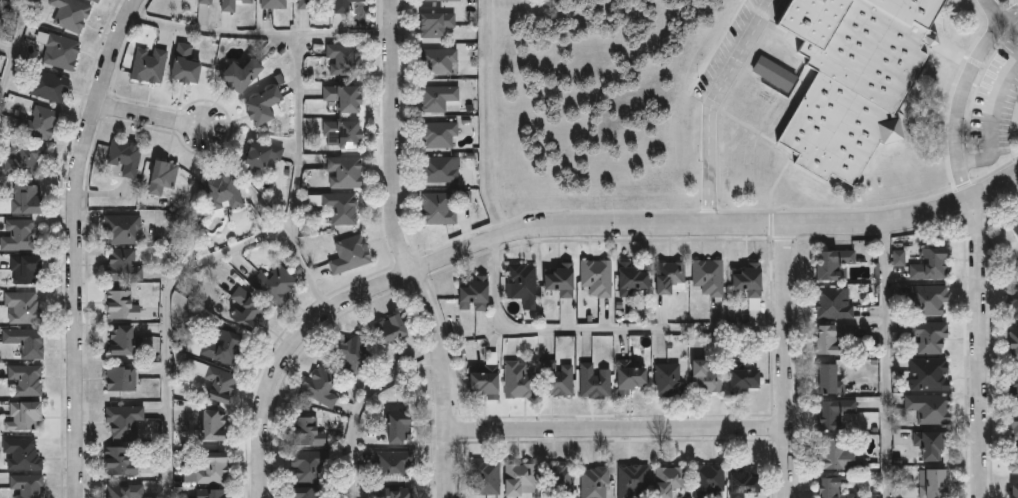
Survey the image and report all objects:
building: (438, 0)
building: (97, 1)
building: (206, 1)
building: (275, 3)
building: (233, 4)
building: (306, 4)
building: (0, 5)
building: (343, 6)
road: (994, 10)
building: (72, 14)
park: (502, 14)
building: (439, 23)
road: (1011, 30)
road: (214, 32)
road: (15, 49)
building: (63, 50)
building: (346, 58)
building: (440, 60)
building: (187, 64)
building: (151, 65)
building: (245, 73)
building: (773, 74)
building: (852, 77)
building: (51, 85)
road: (960, 95)
building: (347, 96)
building: (440, 97)
parking lot: (996, 101)
road: (711, 103)
building: (267, 105)
road: (490, 110)
road: (158, 116)
road: (991, 118)
building: (41, 122)
road: (300, 130)
building: (347, 132)
building: (441, 133)
building: (264, 154)
building: (126, 156)
building: (27, 159)
building: (442, 169)
building: (347, 171)
building: (165, 175)
building: (225, 191)
building: (25, 200)
building: (339, 205)
building: (440, 208)
road: (567, 222)
building: (123, 228)
building: (1013, 228)
building: (19, 235)
road: (83, 244)
road: (409, 251)
building: (351, 253)
building: (898, 257)
building: (830, 264)
building: (927, 264)
building: (124, 265)
building: (27, 267)
building: (706, 275)
building: (599, 276)
building: (670, 276)
building: (635, 278)
building: (745, 279)
building: (564, 280)
building: (523, 283)
building: (278, 284)
building: (478, 294)
building: (926, 299)
building: (1012, 301)
building: (830, 303)
building: (123, 305)
building: (24, 307)
building: (248, 308)
road: (171, 324)
road: (598, 327)
building: (394, 329)
building: (927, 335)
building: (826, 336)
building: (27, 340)
building: (124, 340)
building: (1012, 342)
building: (220, 348)
road: (976, 348)
building: (355, 353)
road: (886, 359)
road: (788, 360)
building: (926, 374)
building: (632, 376)
building: (123, 377)
building: (702, 377)
building: (559, 378)
building: (738, 378)
building: (825, 379)
building: (27, 380)
building: (488, 380)
building: (521, 380)
building: (669, 381)
building: (596, 382)
building: (222, 383)
building: (1013, 383)
building: (323, 386)
road: (361, 406)
building: (927, 409)
building: (830, 412)
building: (26, 415)
building: (1013, 420)
building: (124, 422)
building: (214, 427)
building: (403, 427)
building: (309, 432)
road: (618, 433)
building: (927, 444)
building: (22, 454)
building: (834, 456)
building: (1013, 460)
building: (120, 461)
building: (309, 465)
building: (394, 466)
building: (212, 469)
building: (485, 478)
building: (559, 479)
building: (519, 480)
building: (631, 480)
building: (708, 480)
building: (670, 481)
building: (594, 482)
building: (741, 482)
building: (928, 483)
building: (29, 487)
building: (836, 490)
building: (125, 491)
building: (1014, 492)
building: (307, 493)
building: (396, 493)
building: (213, 494)

